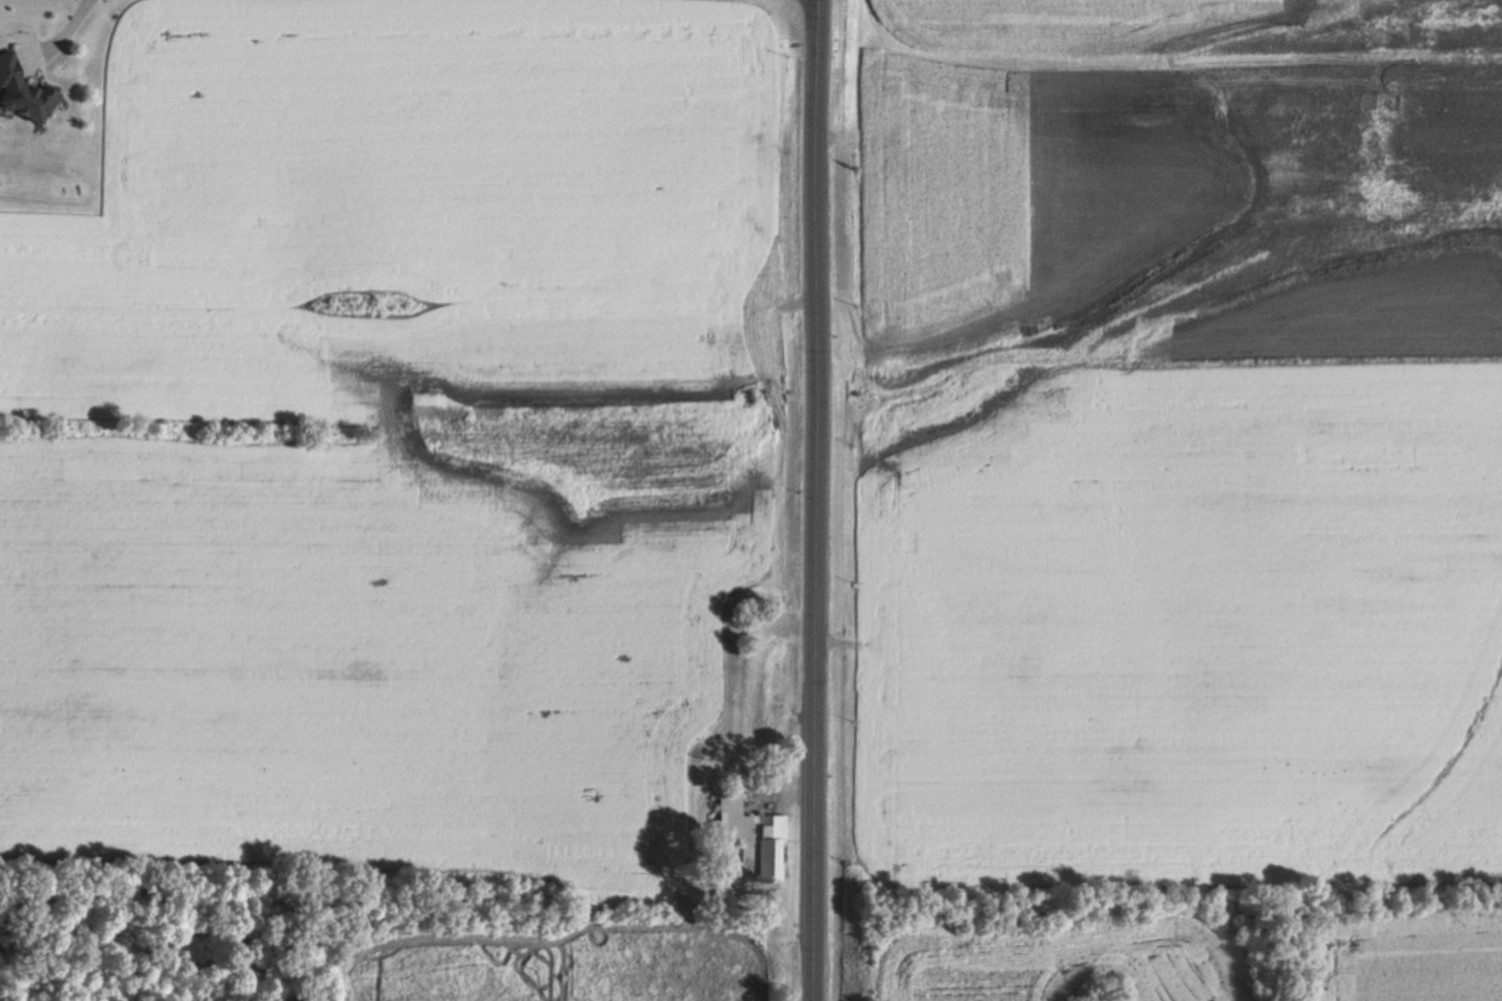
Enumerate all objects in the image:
road: (61, 37)
building: (21, 93)
road: (769, 387)
road: (817, 500)
road: (735, 773)
building: (748, 838)

